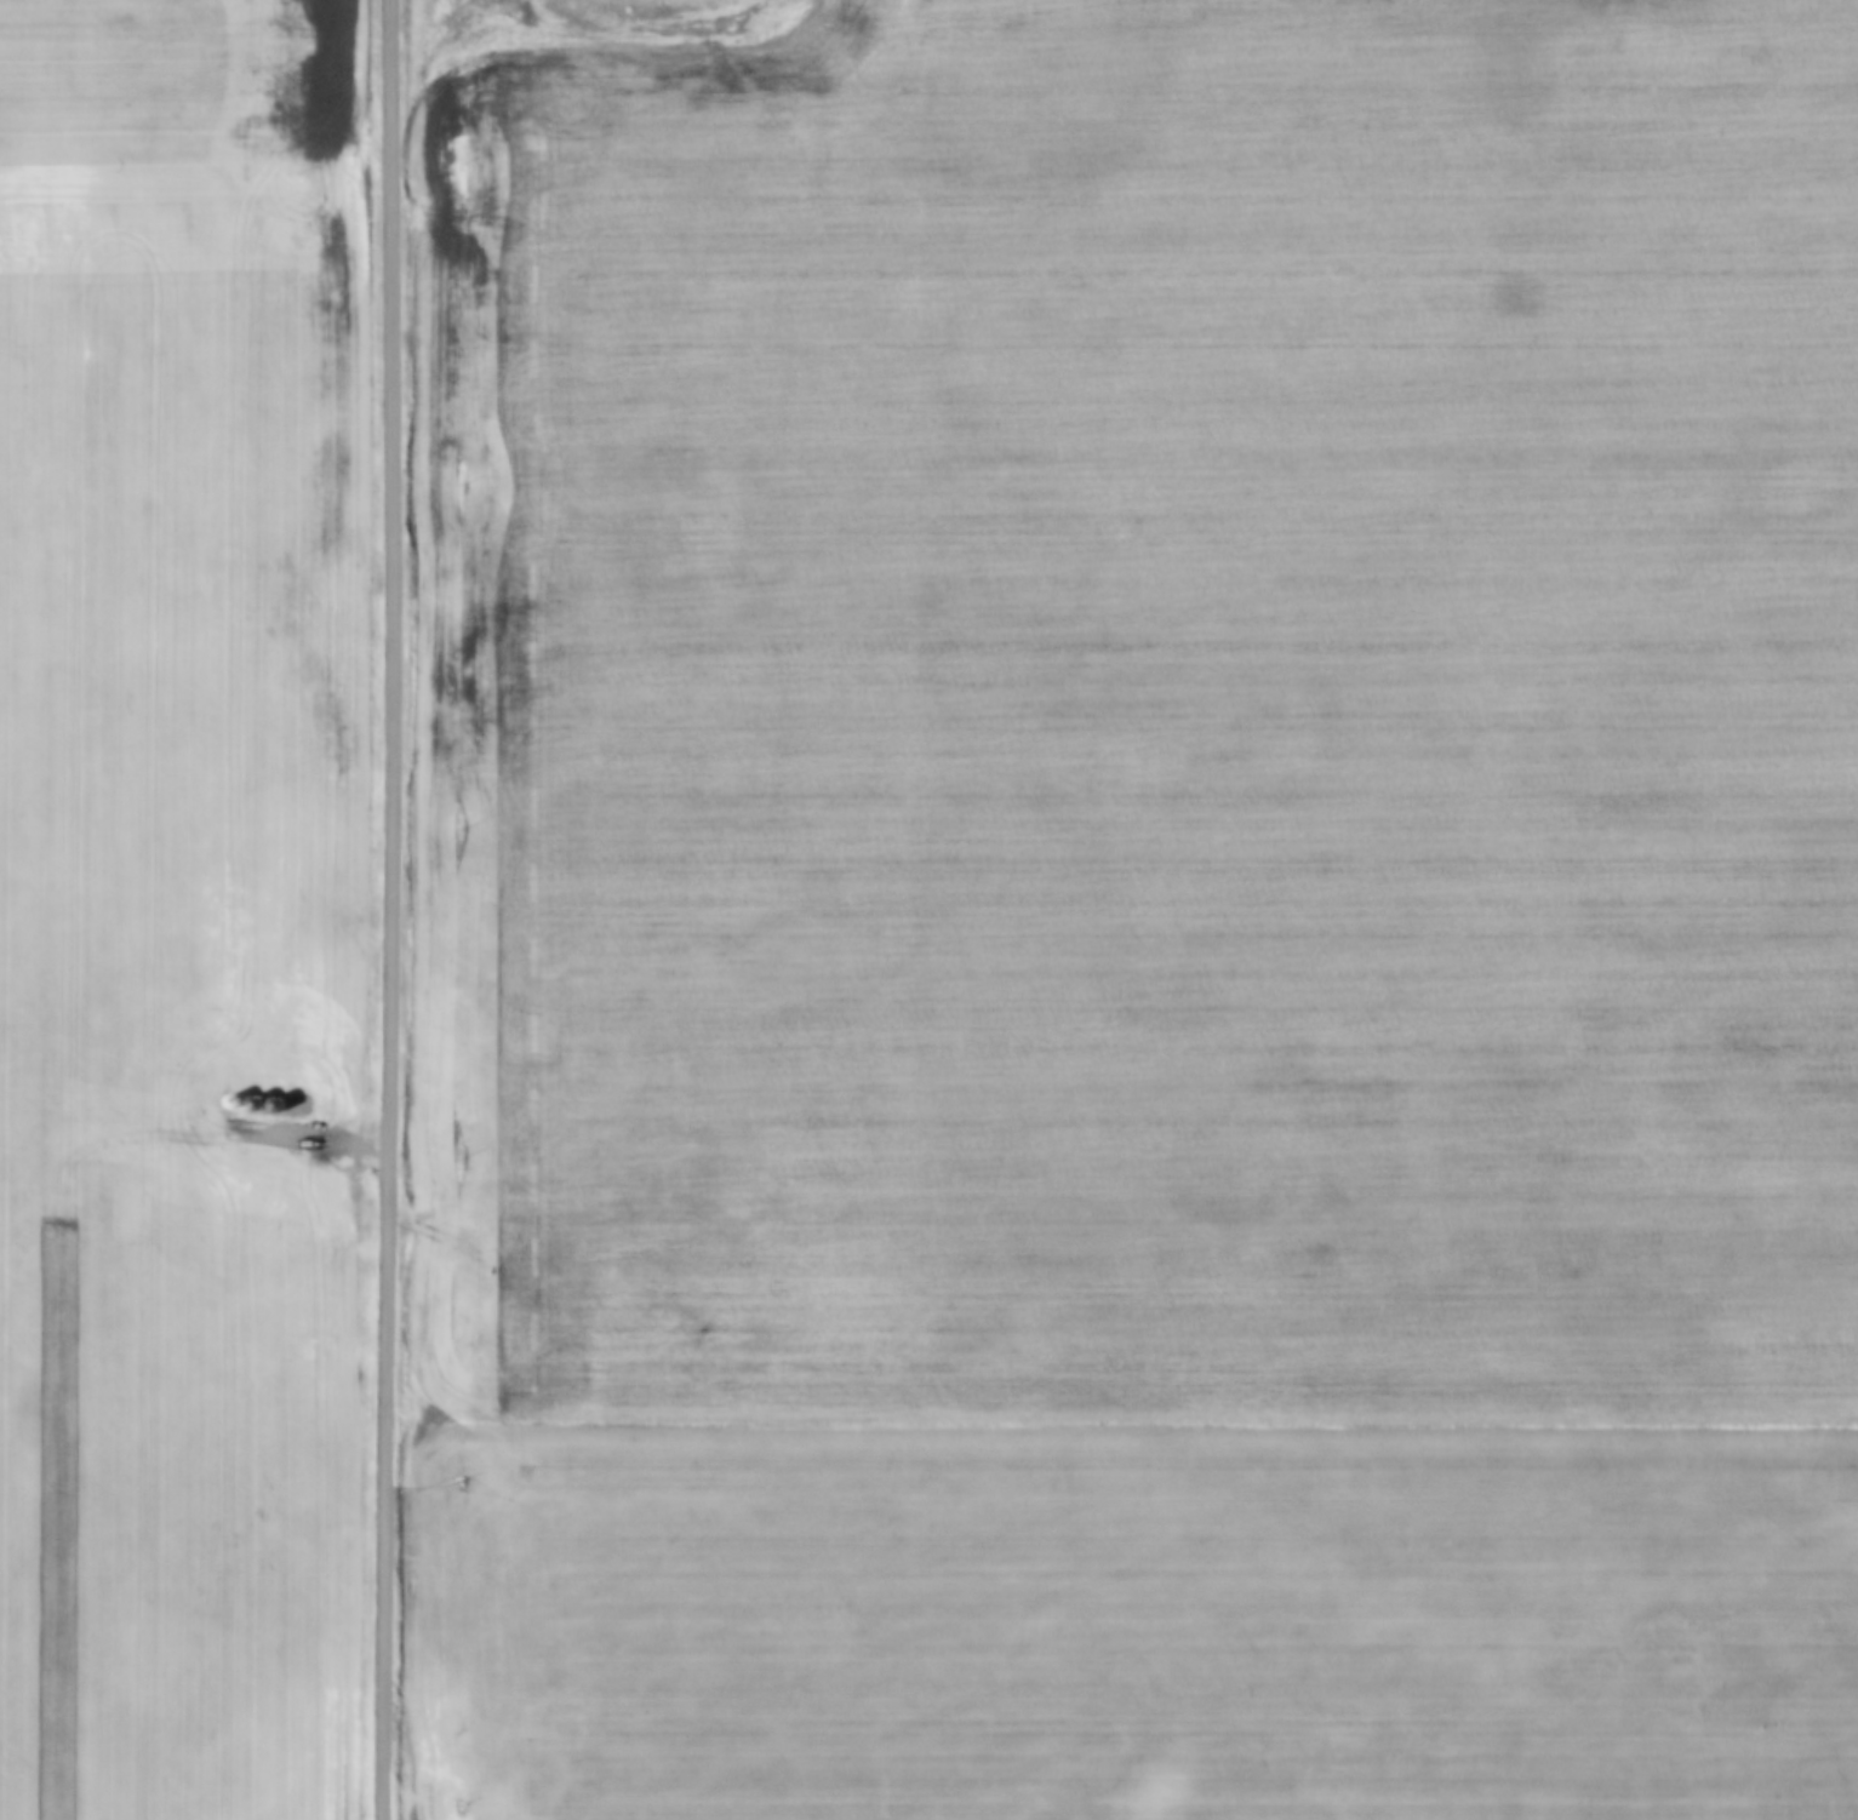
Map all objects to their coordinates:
road: (391, 910)

